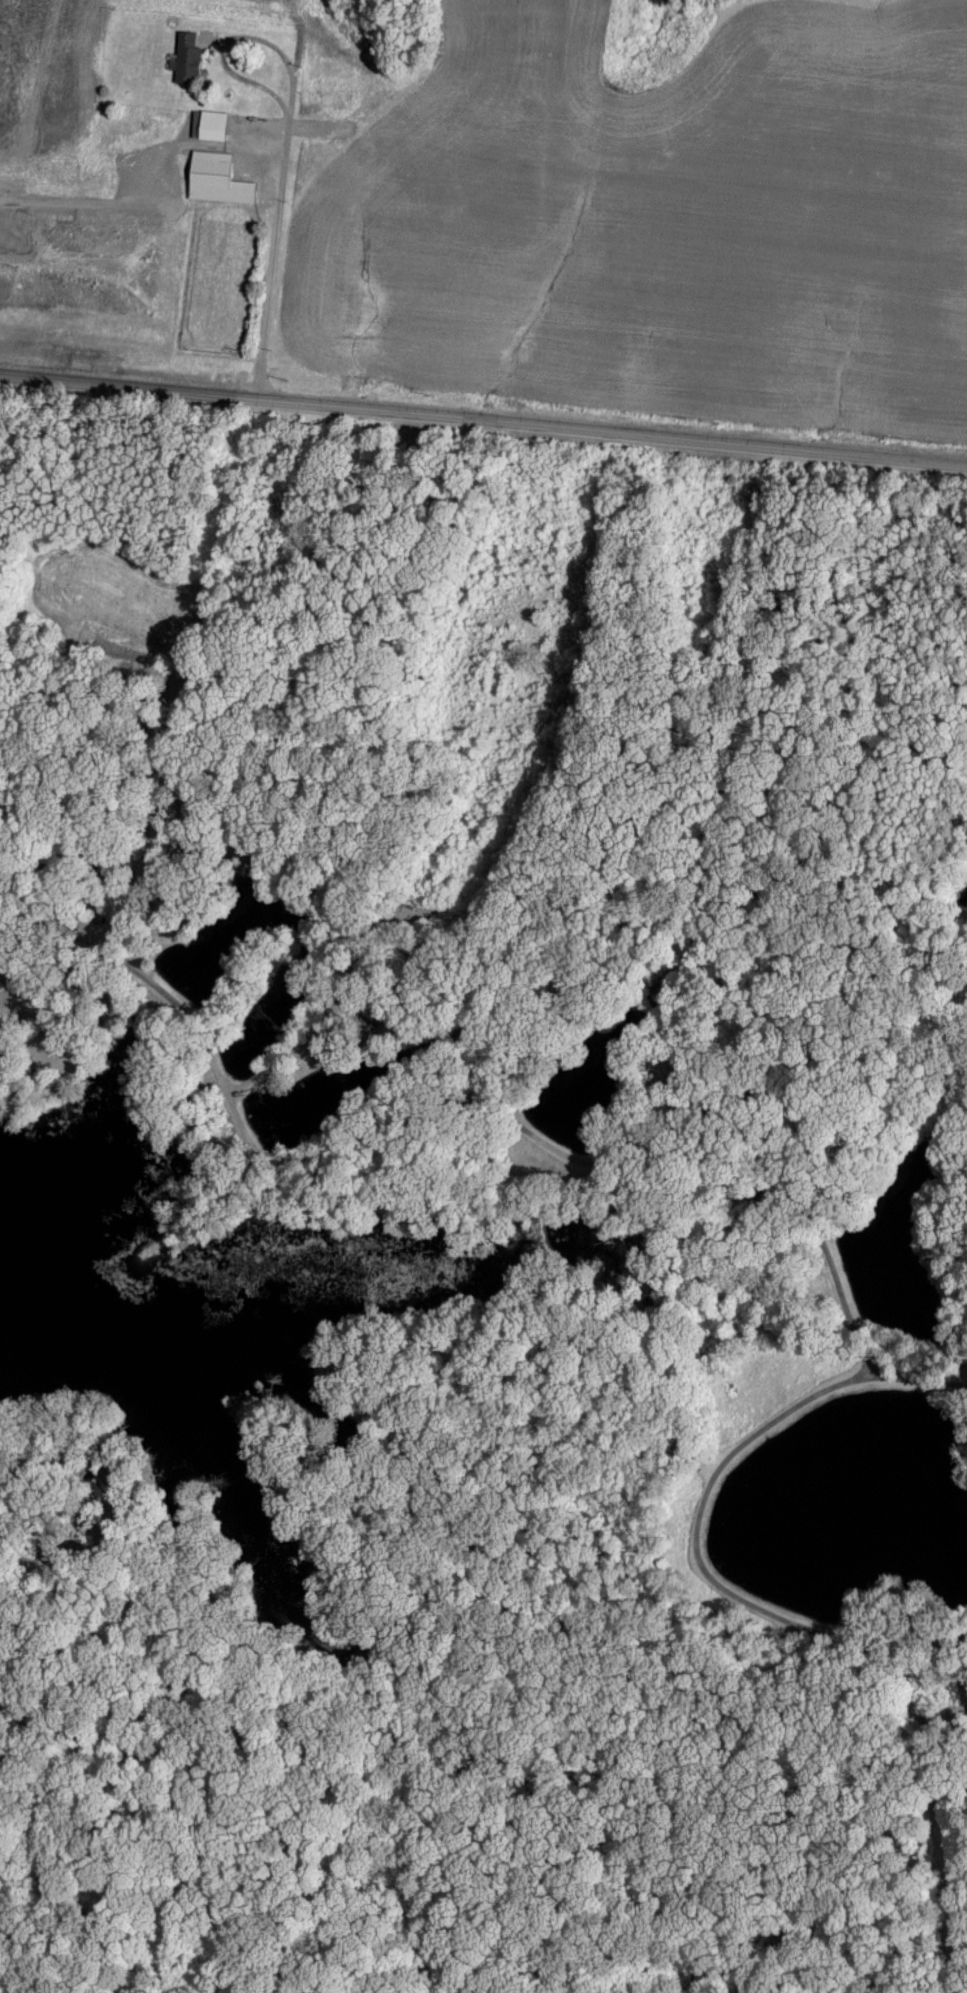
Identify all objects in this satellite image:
building: (183, 56)
building: (210, 123)
building: (215, 177)
road: (483, 420)

